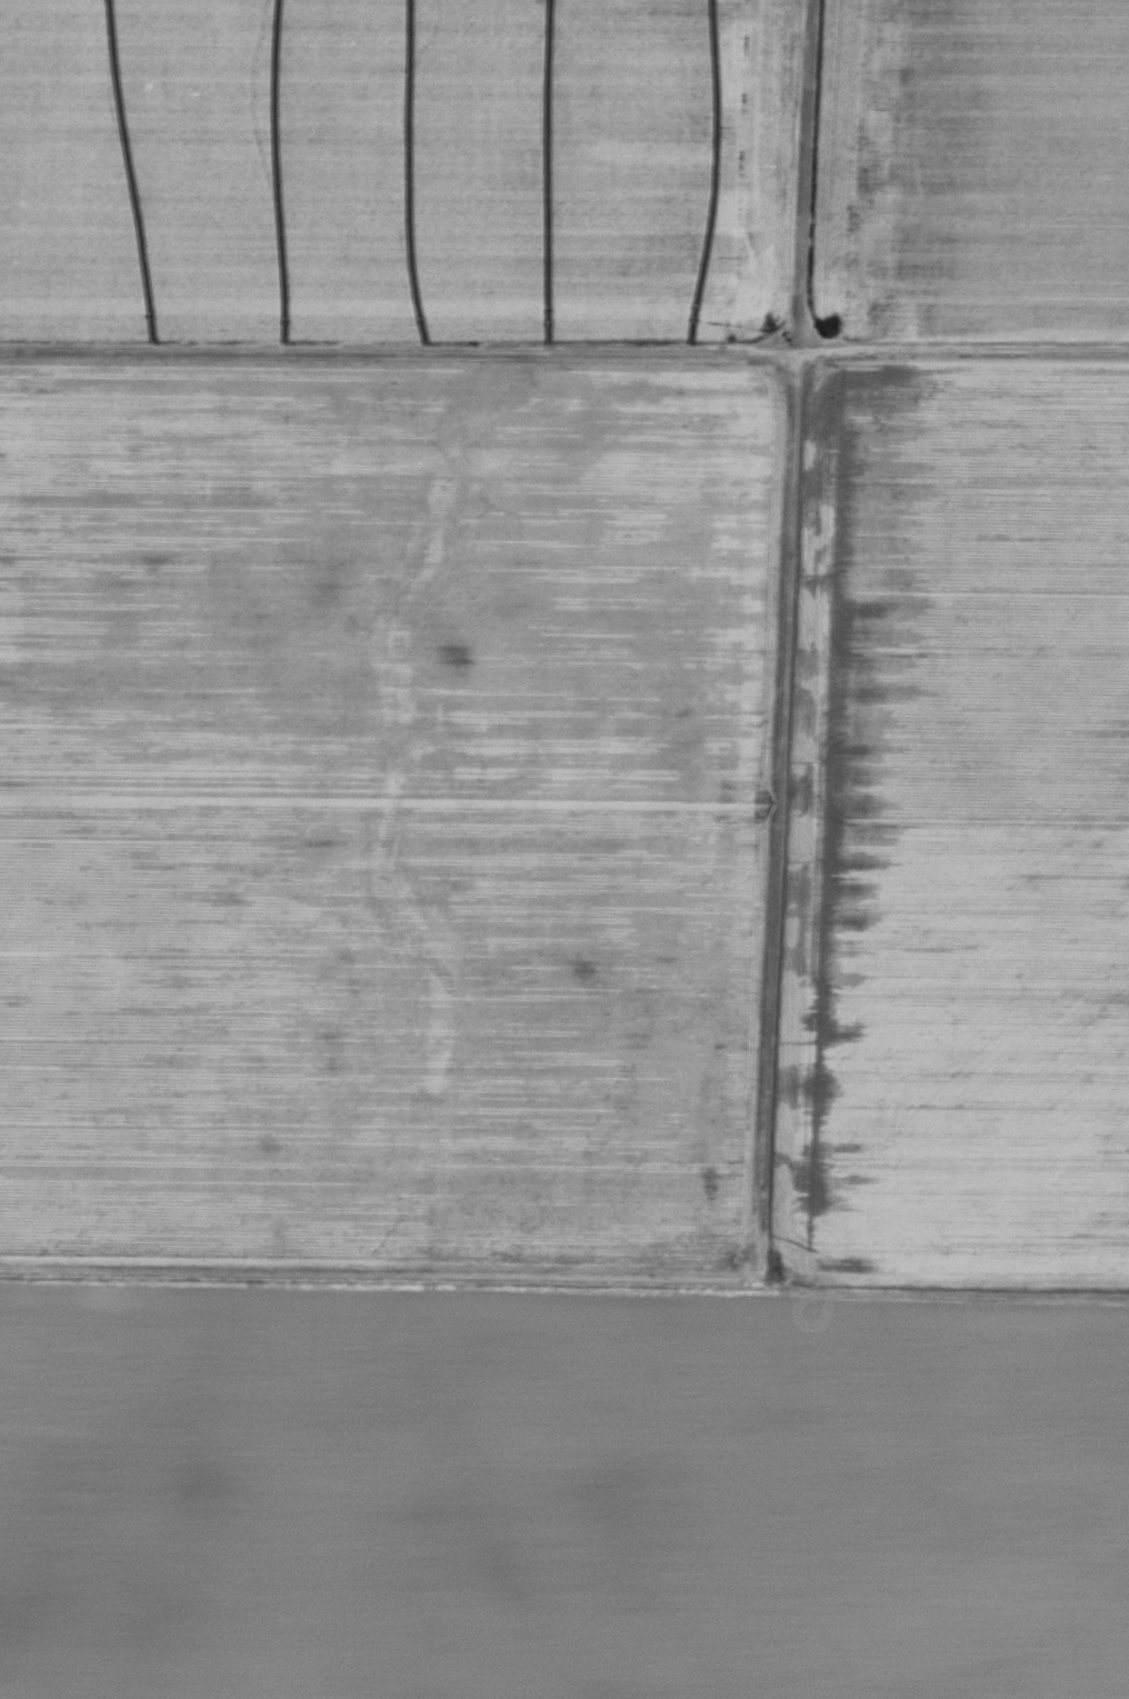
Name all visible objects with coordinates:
road: (564, 32)
road: (779, 660)

